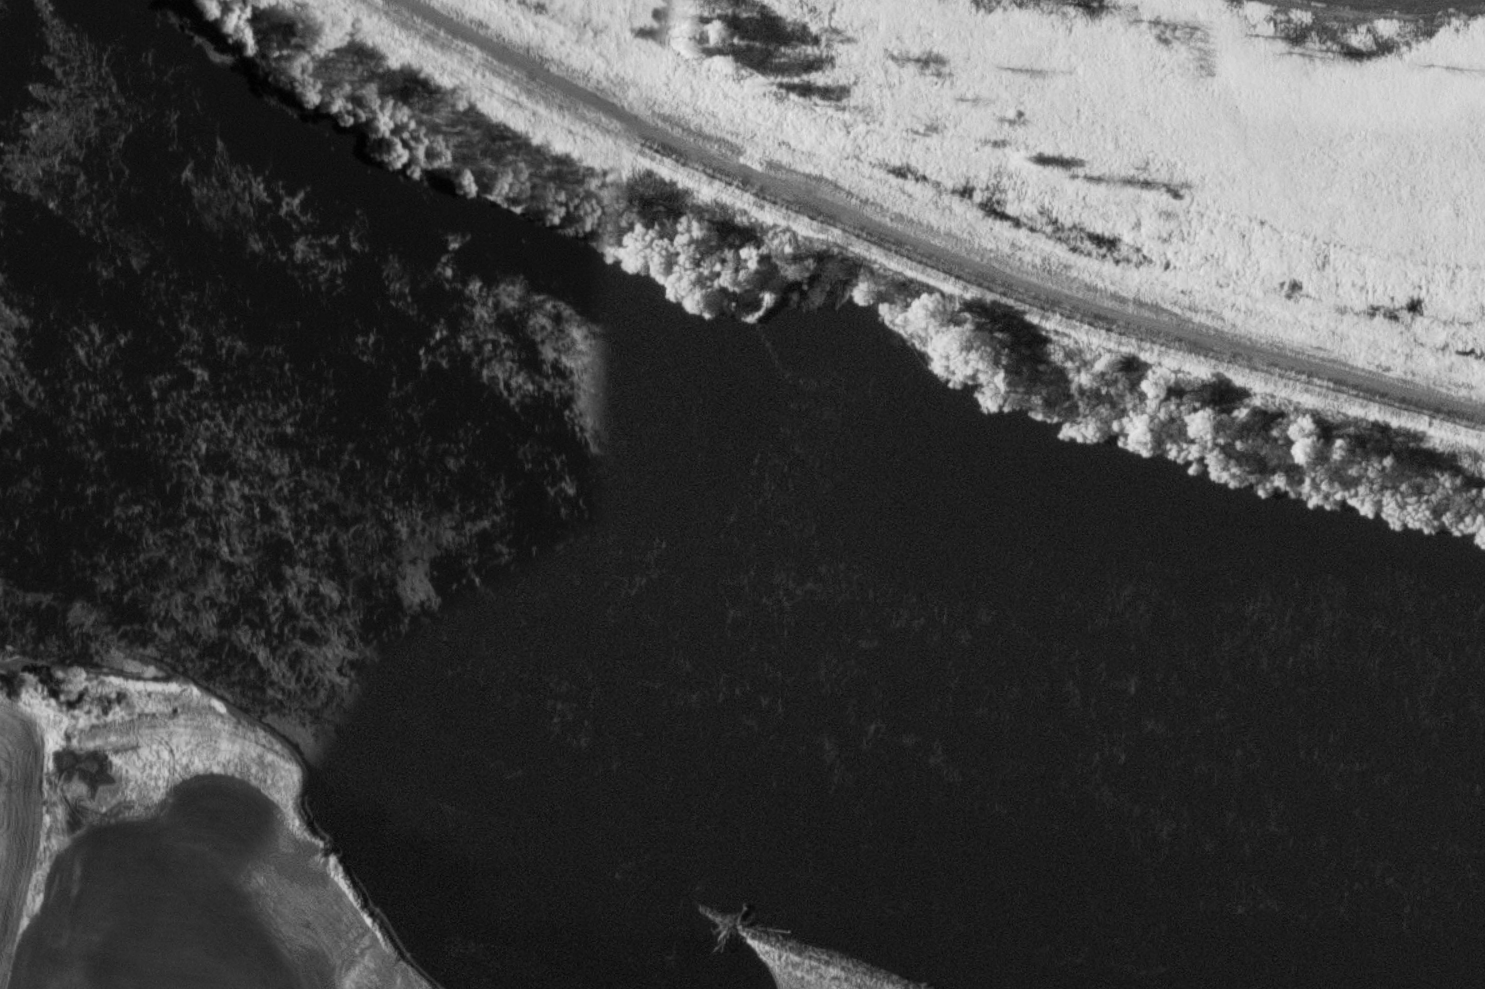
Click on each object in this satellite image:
road: (924, 247)
river: (725, 579)

